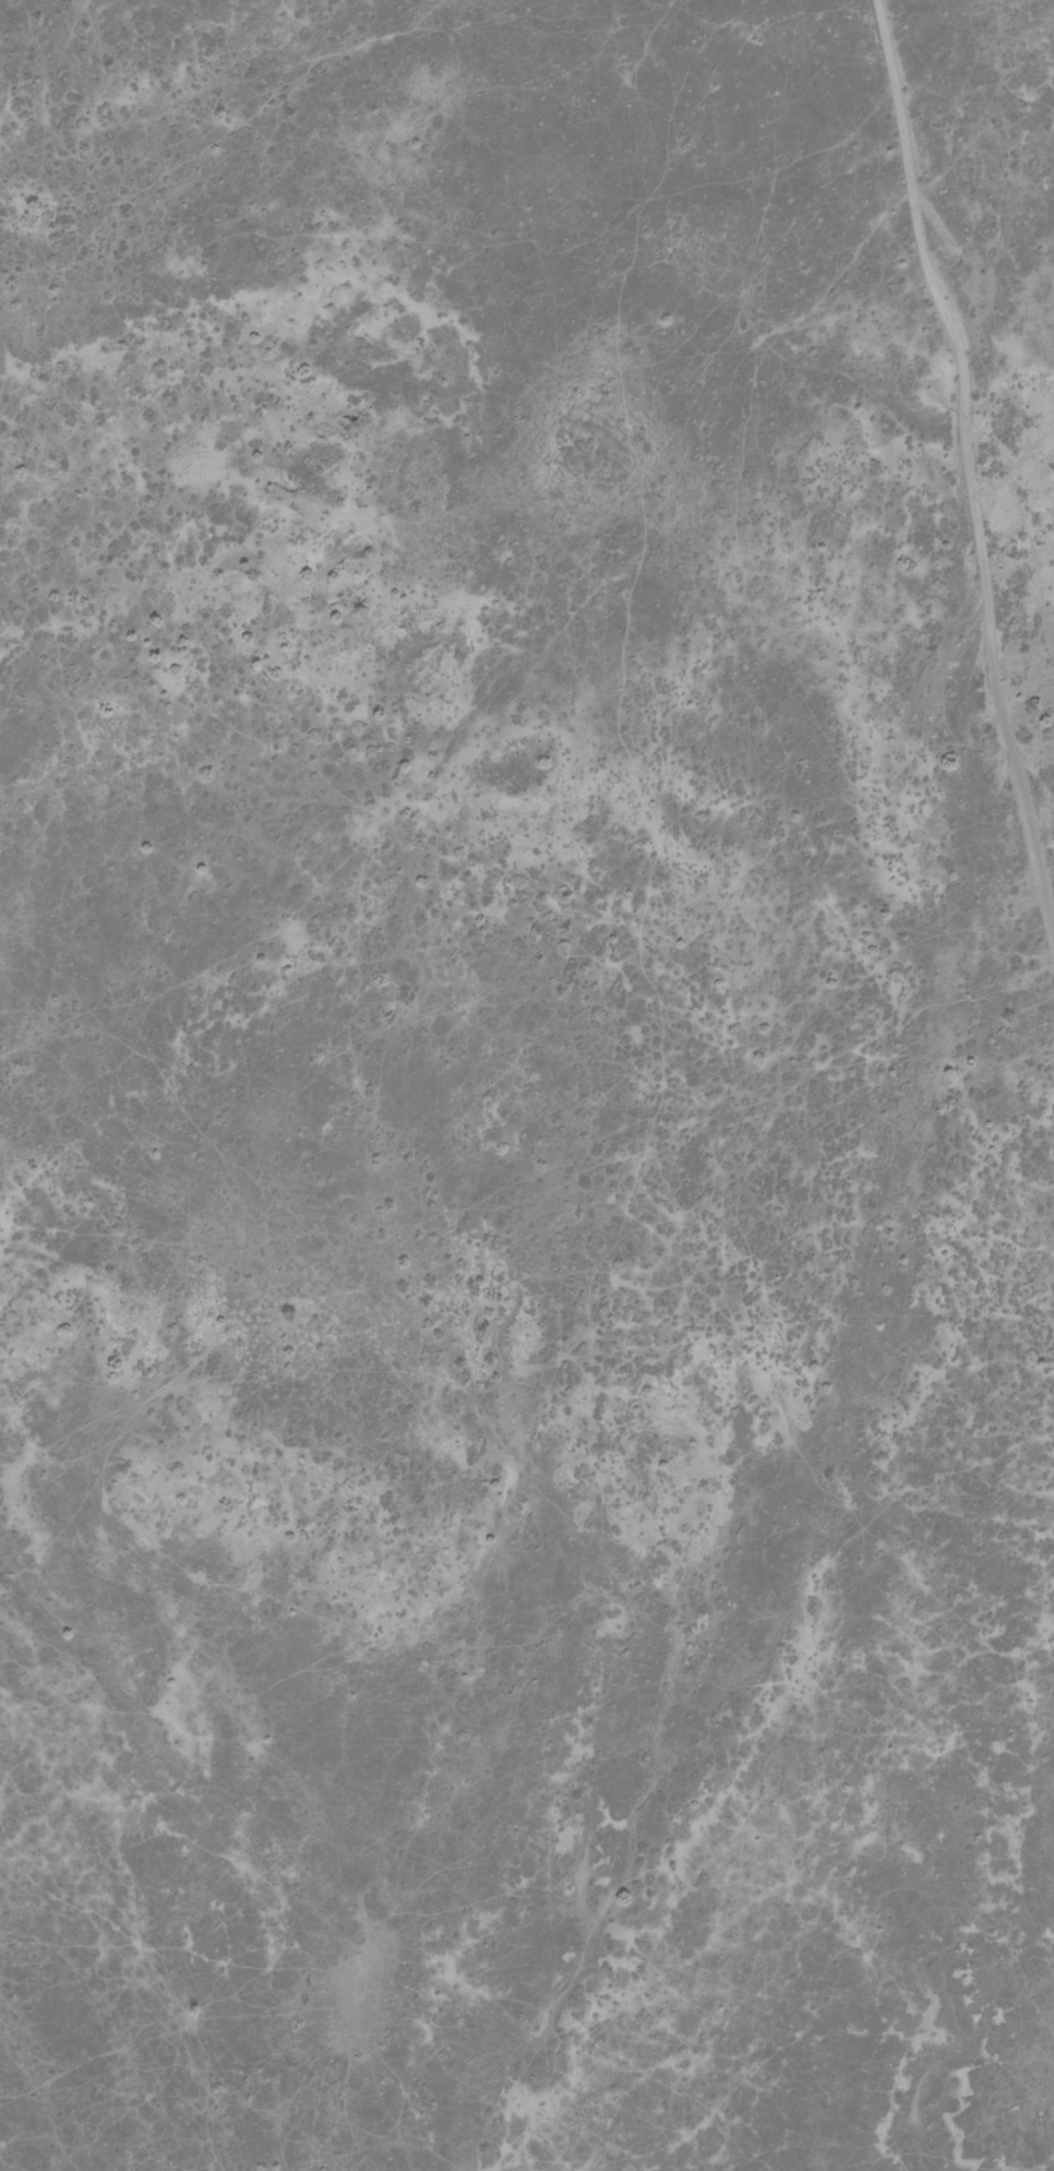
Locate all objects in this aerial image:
road: (963, 455)

